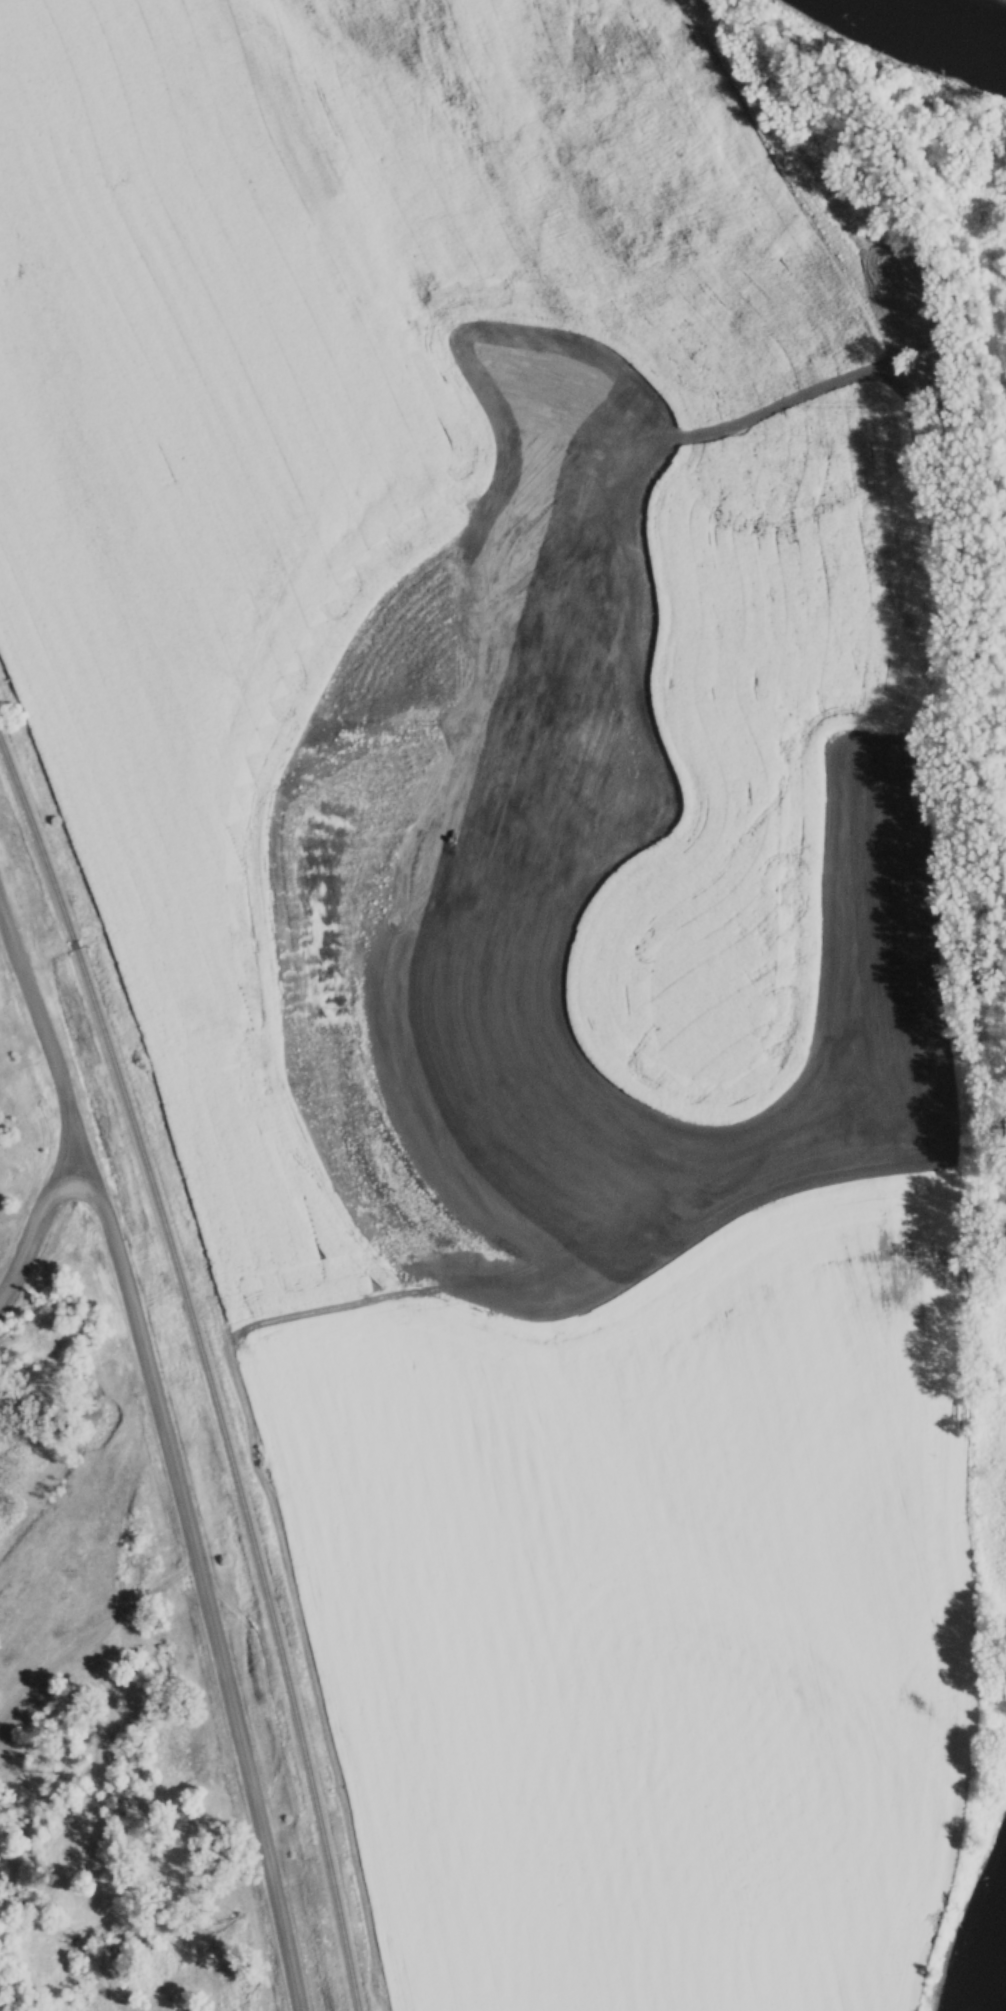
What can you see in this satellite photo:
railway: (36, 839)
railway: (74, 943)
road: (37, 1215)
road: (170, 1452)
railway: (235, 1474)

